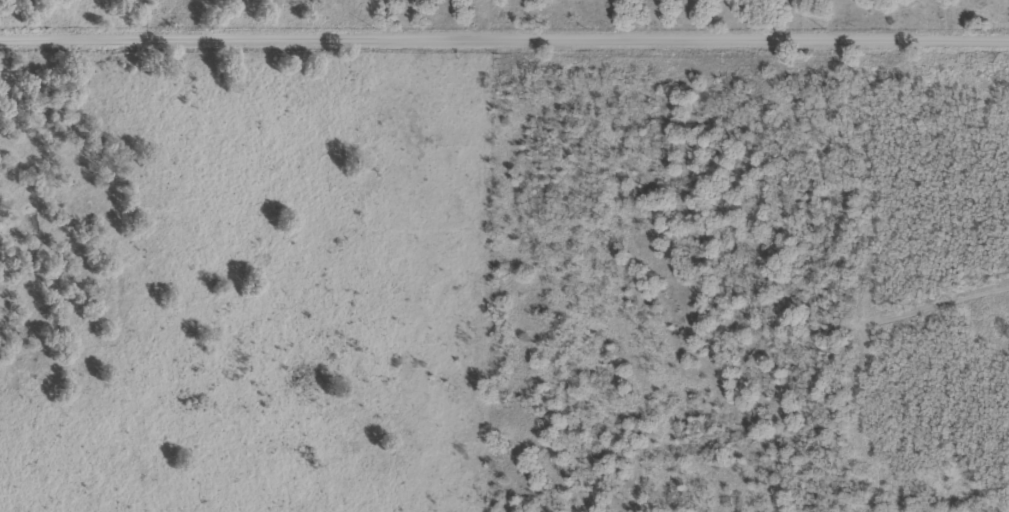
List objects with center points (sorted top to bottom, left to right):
road: (504, 40)
road: (25, 478)

